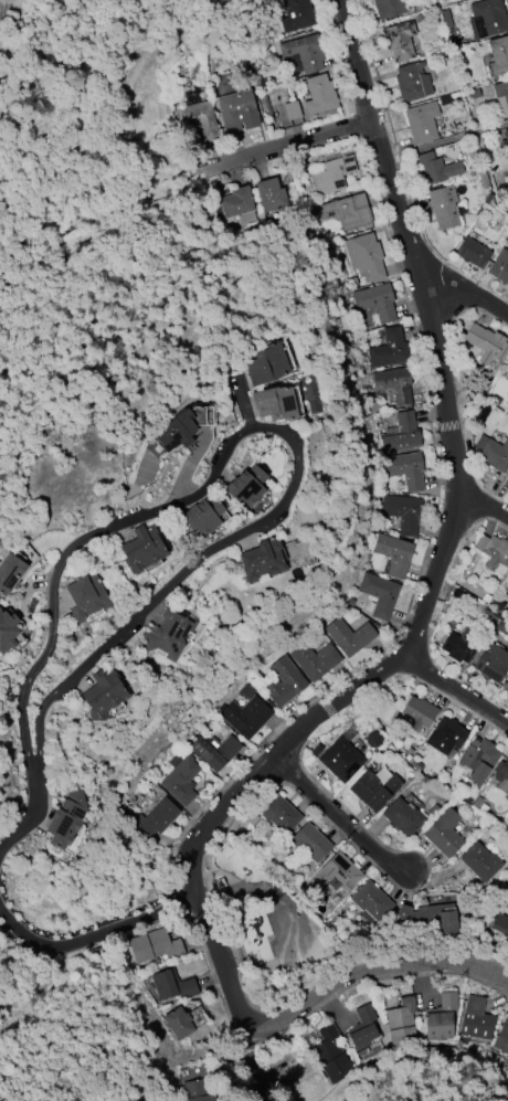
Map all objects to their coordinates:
building: (389, 8)
building: (296, 15)
building: (487, 18)
building: (446, 20)
building: (399, 41)
building: (304, 52)
building: (498, 57)
building: (412, 82)
building: (319, 95)
building: (473, 95)
building: (501, 98)
building: (445, 100)
building: (292, 110)
building: (236, 112)
building: (195, 121)
building: (421, 121)
building: (506, 135)
road: (378, 142)
road: (288, 146)
building: (436, 168)
building: (331, 176)
building: (269, 195)
building: (235, 202)
building: (443, 207)
building: (348, 211)
building: (472, 253)
building: (364, 256)
building: (499, 267)
road: (468, 294)
building: (375, 303)
building: (486, 343)
building: (389, 349)
building: (266, 366)
building: (507, 366)
building: (394, 384)
road: (244, 399)
building: (275, 404)
road: (266, 424)
building: (188, 432)
building: (401, 434)
building: (493, 453)
building: (405, 469)
road: (184, 476)
building: (506, 483)
building: (246, 486)
building: (507, 490)
road: (484, 504)
building: (402, 512)
building: (202, 516)
building: (152, 551)
building: (493, 551)
building: (393, 554)
building: (263, 560)
building: (22, 570)
building: (379, 595)
building: (92, 600)
building: (10, 631)
building: (169, 635)
road: (412, 635)
building: (349, 636)
building: (458, 646)
building: (314, 659)
building: (491, 663)
building: (283, 682)
building: (506, 686)
road: (457, 689)
building: (104, 695)
building: (417, 714)
building: (245, 717)
building: (445, 735)
building: (214, 752)
building: (340, 760)
building: (477, 760)
building: (501, 776)
building: (180, 781)
building: (373, 791)
building: (279, 814)
road: (338, 816)
building: (157, 818)
building: (403, 818)
building: (65, 819)
road: (27, 823)
building: (443, 834)
building: (309, 843)
building: (479, 862)
building: (335, 875)
building: (371, 901)
building: (430, 917)
building: (499, 924)
park: (266, 928)
park: (292, 934)
road: (93, 939)
building: (154, 946)
building: (172, 985)
road: (313, 999)
building: (440, 1018)
building: (476, 1020)
building: (178, 1023)
building: (402, 1024)
building: (362, 1028)
building: (502, 1037)
building: (330, 1055)
building: (195, 1091)

